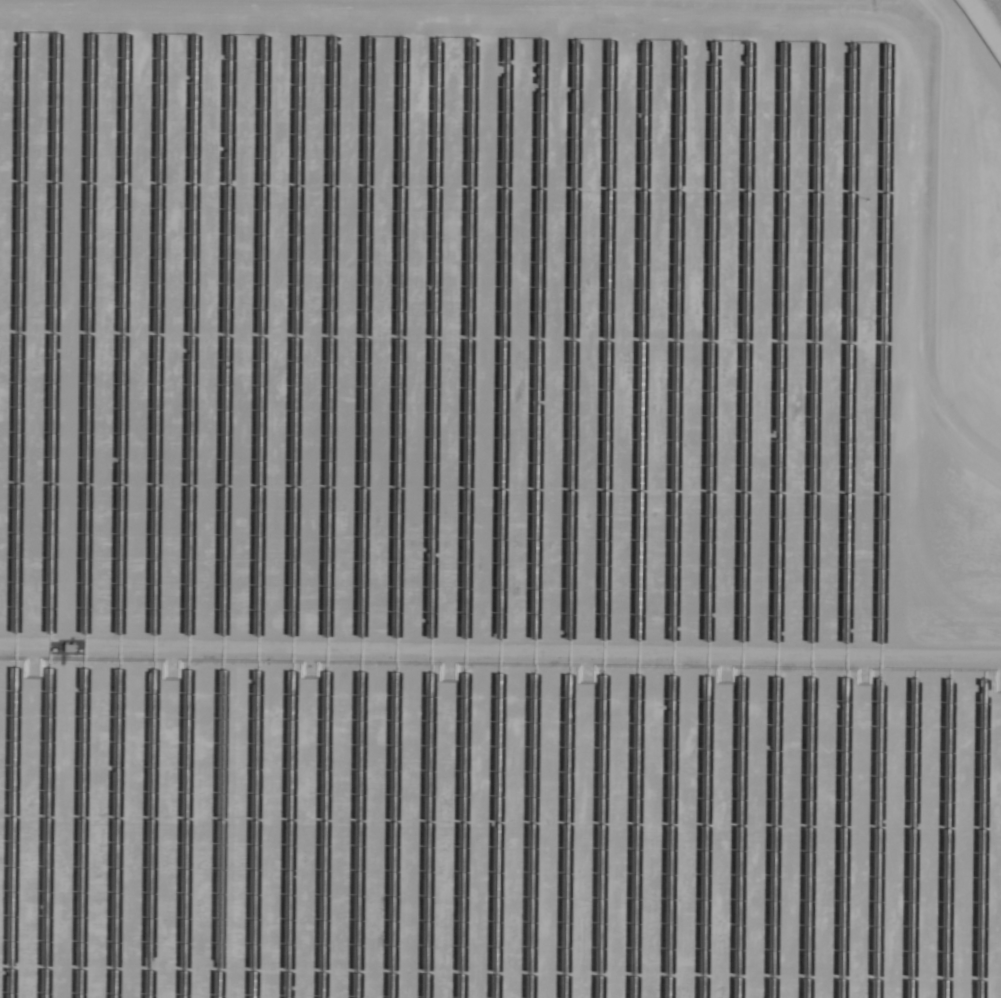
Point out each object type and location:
solar farm: (499, 499)

